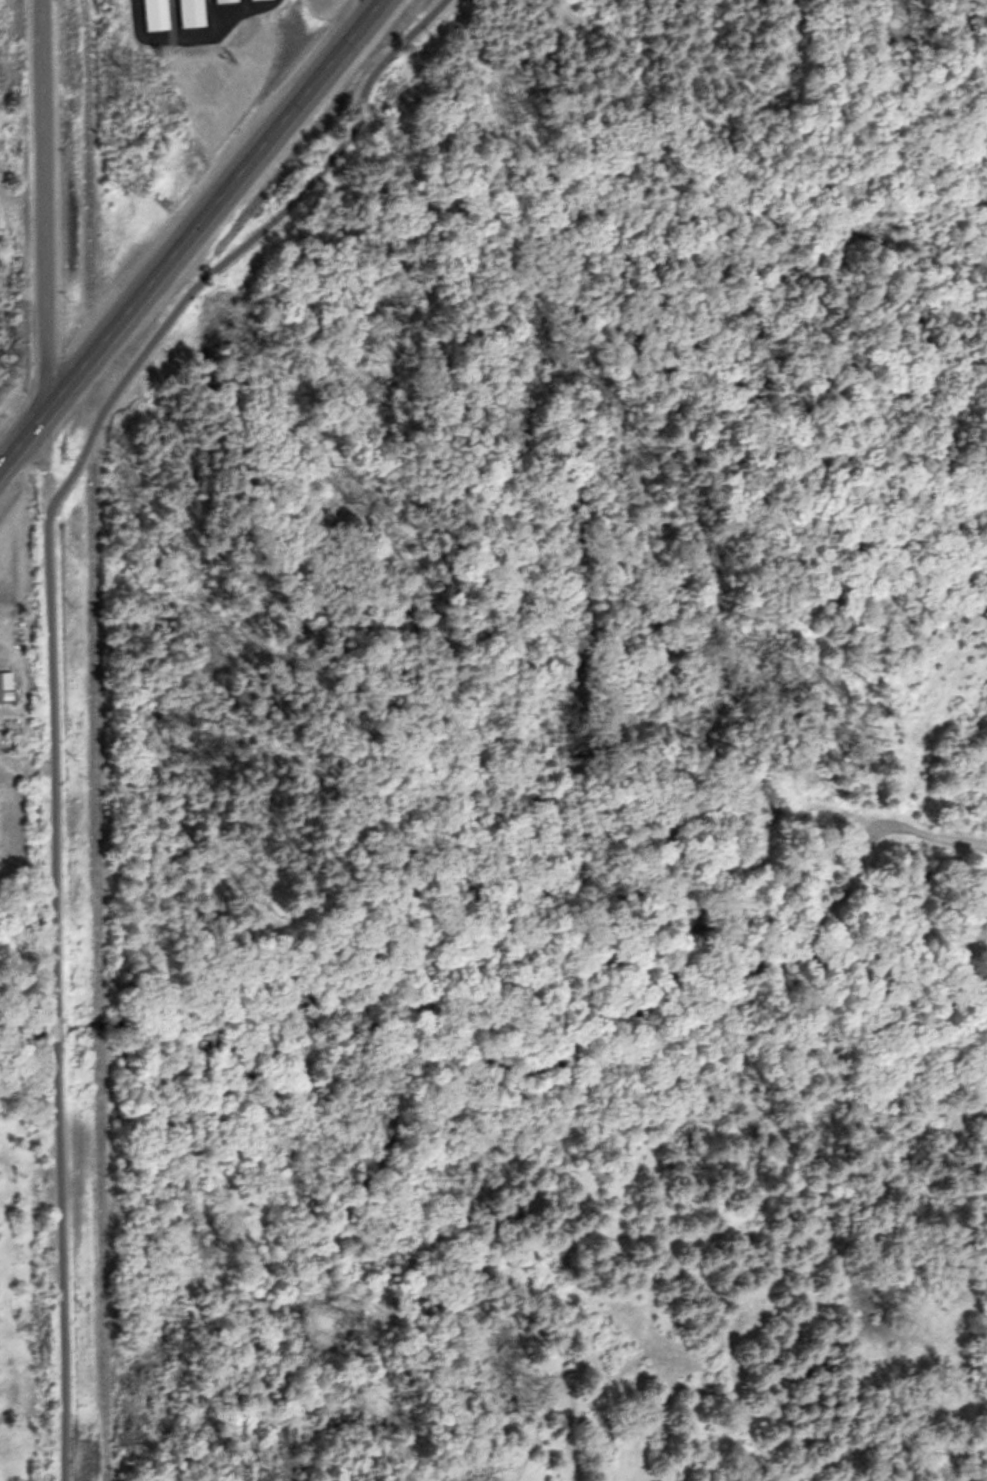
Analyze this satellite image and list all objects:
building: (214, 0)
building: (190, 12)
road: (209, 202)
road: (38, 203)
road: (21, 434)
road: (49, 672)
building: (0, 683)
building: (4, 723)

